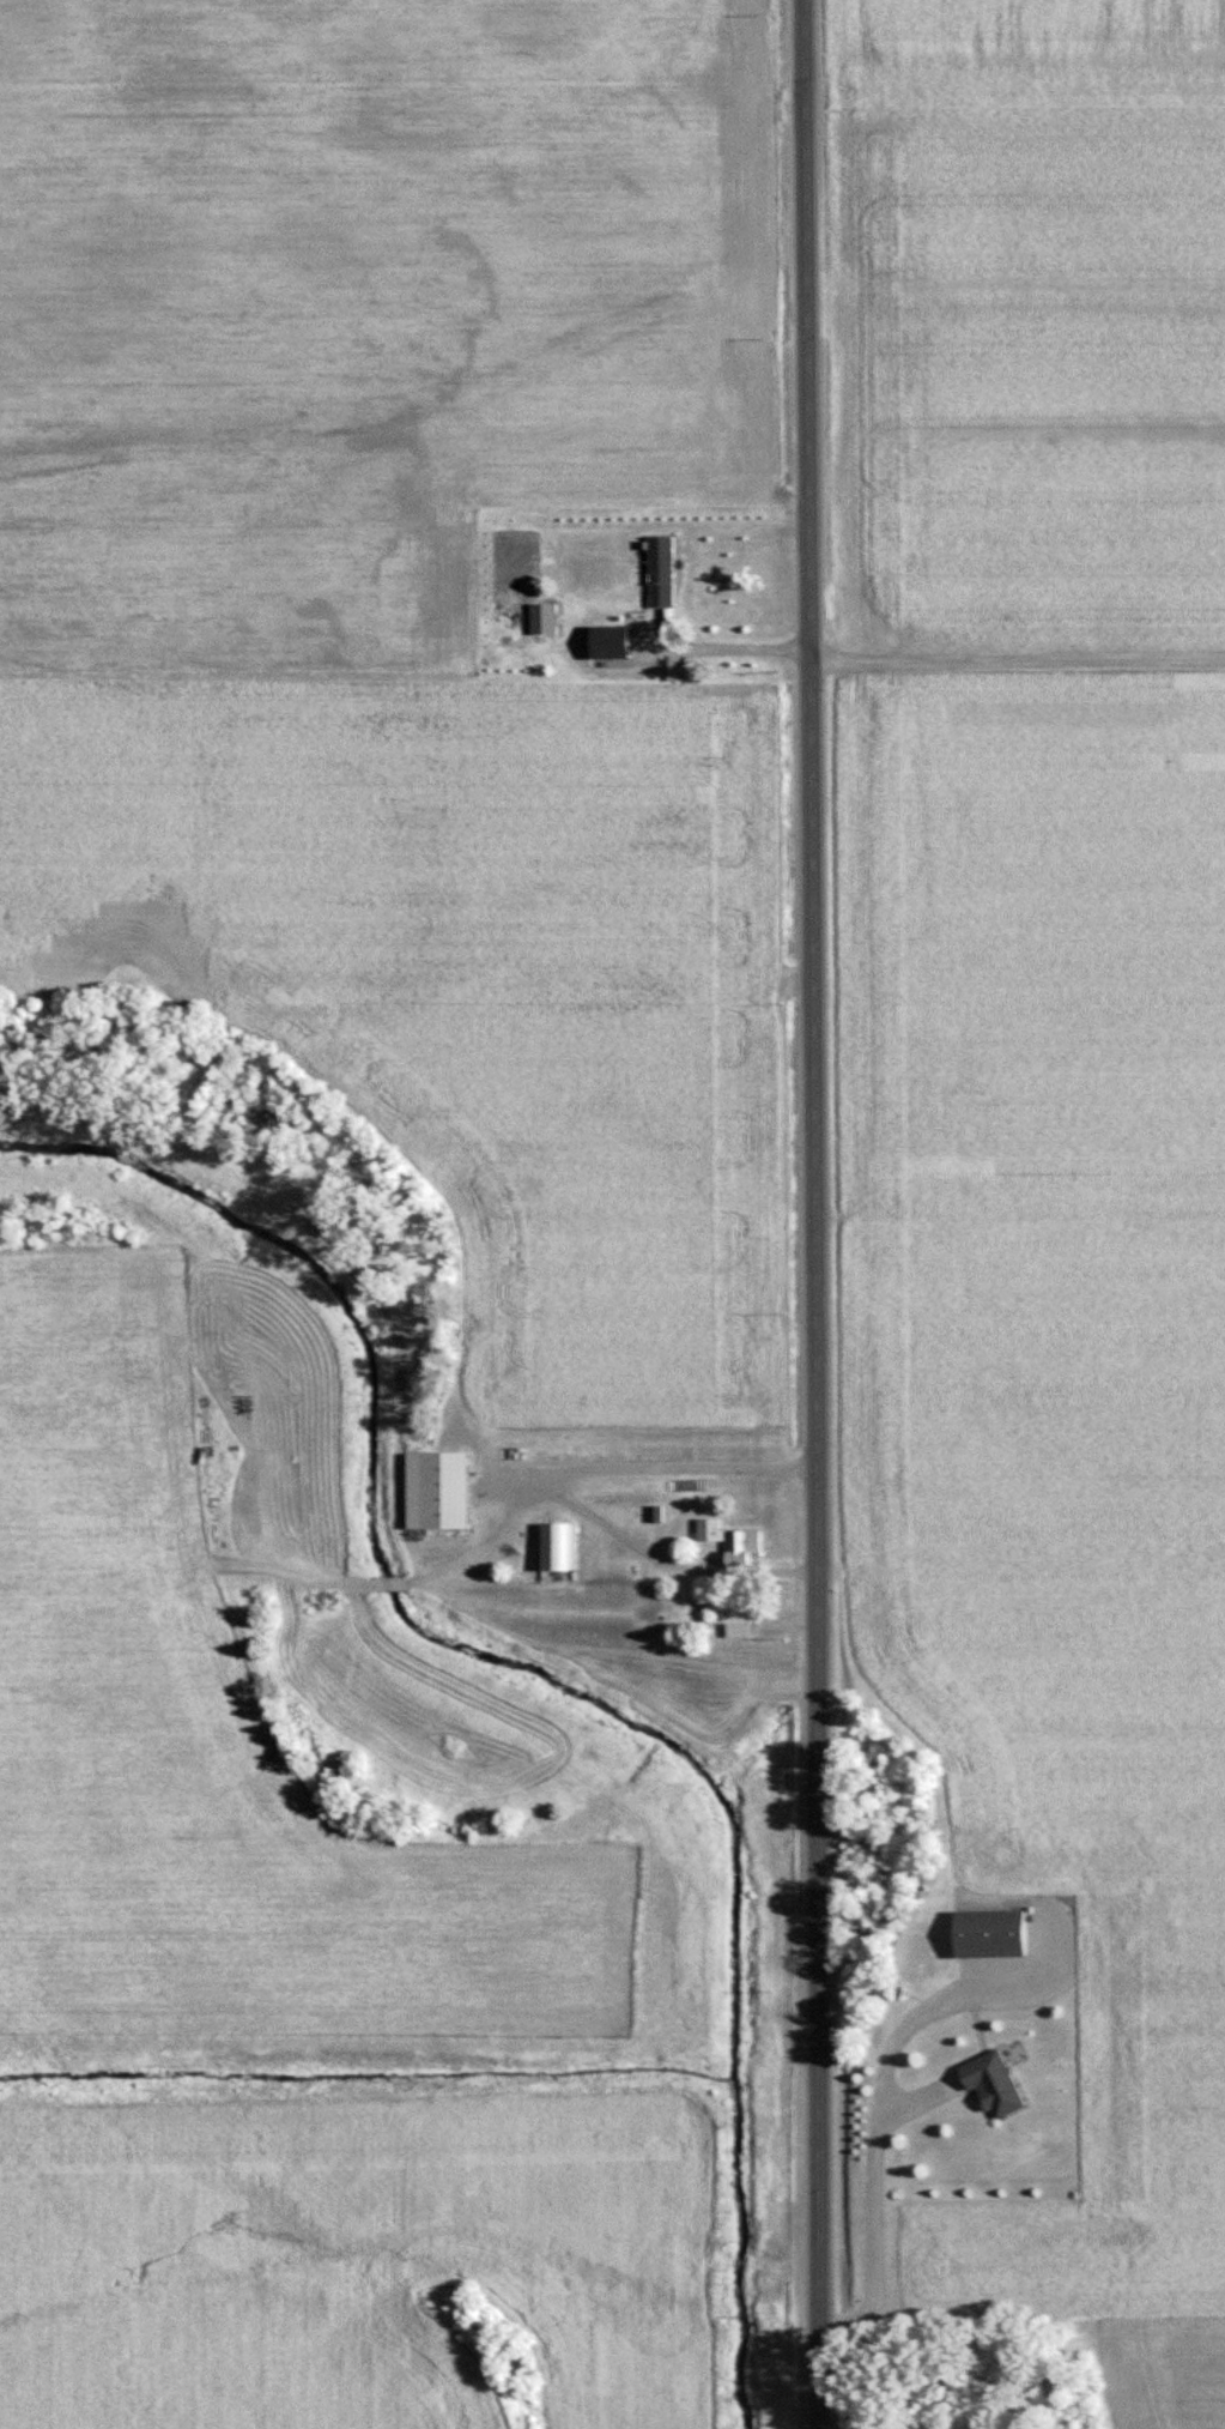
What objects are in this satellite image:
building: (621, 645)
road: (733, 648)
road: (815, 1214)
building: (437, 1490)
road: (550, 1492)
building: (726, 1541)
building: (558, 1546)
building: (739, 1629)
building: (989, 1933)
building: (993, 2083)
road: (865, 2120)

